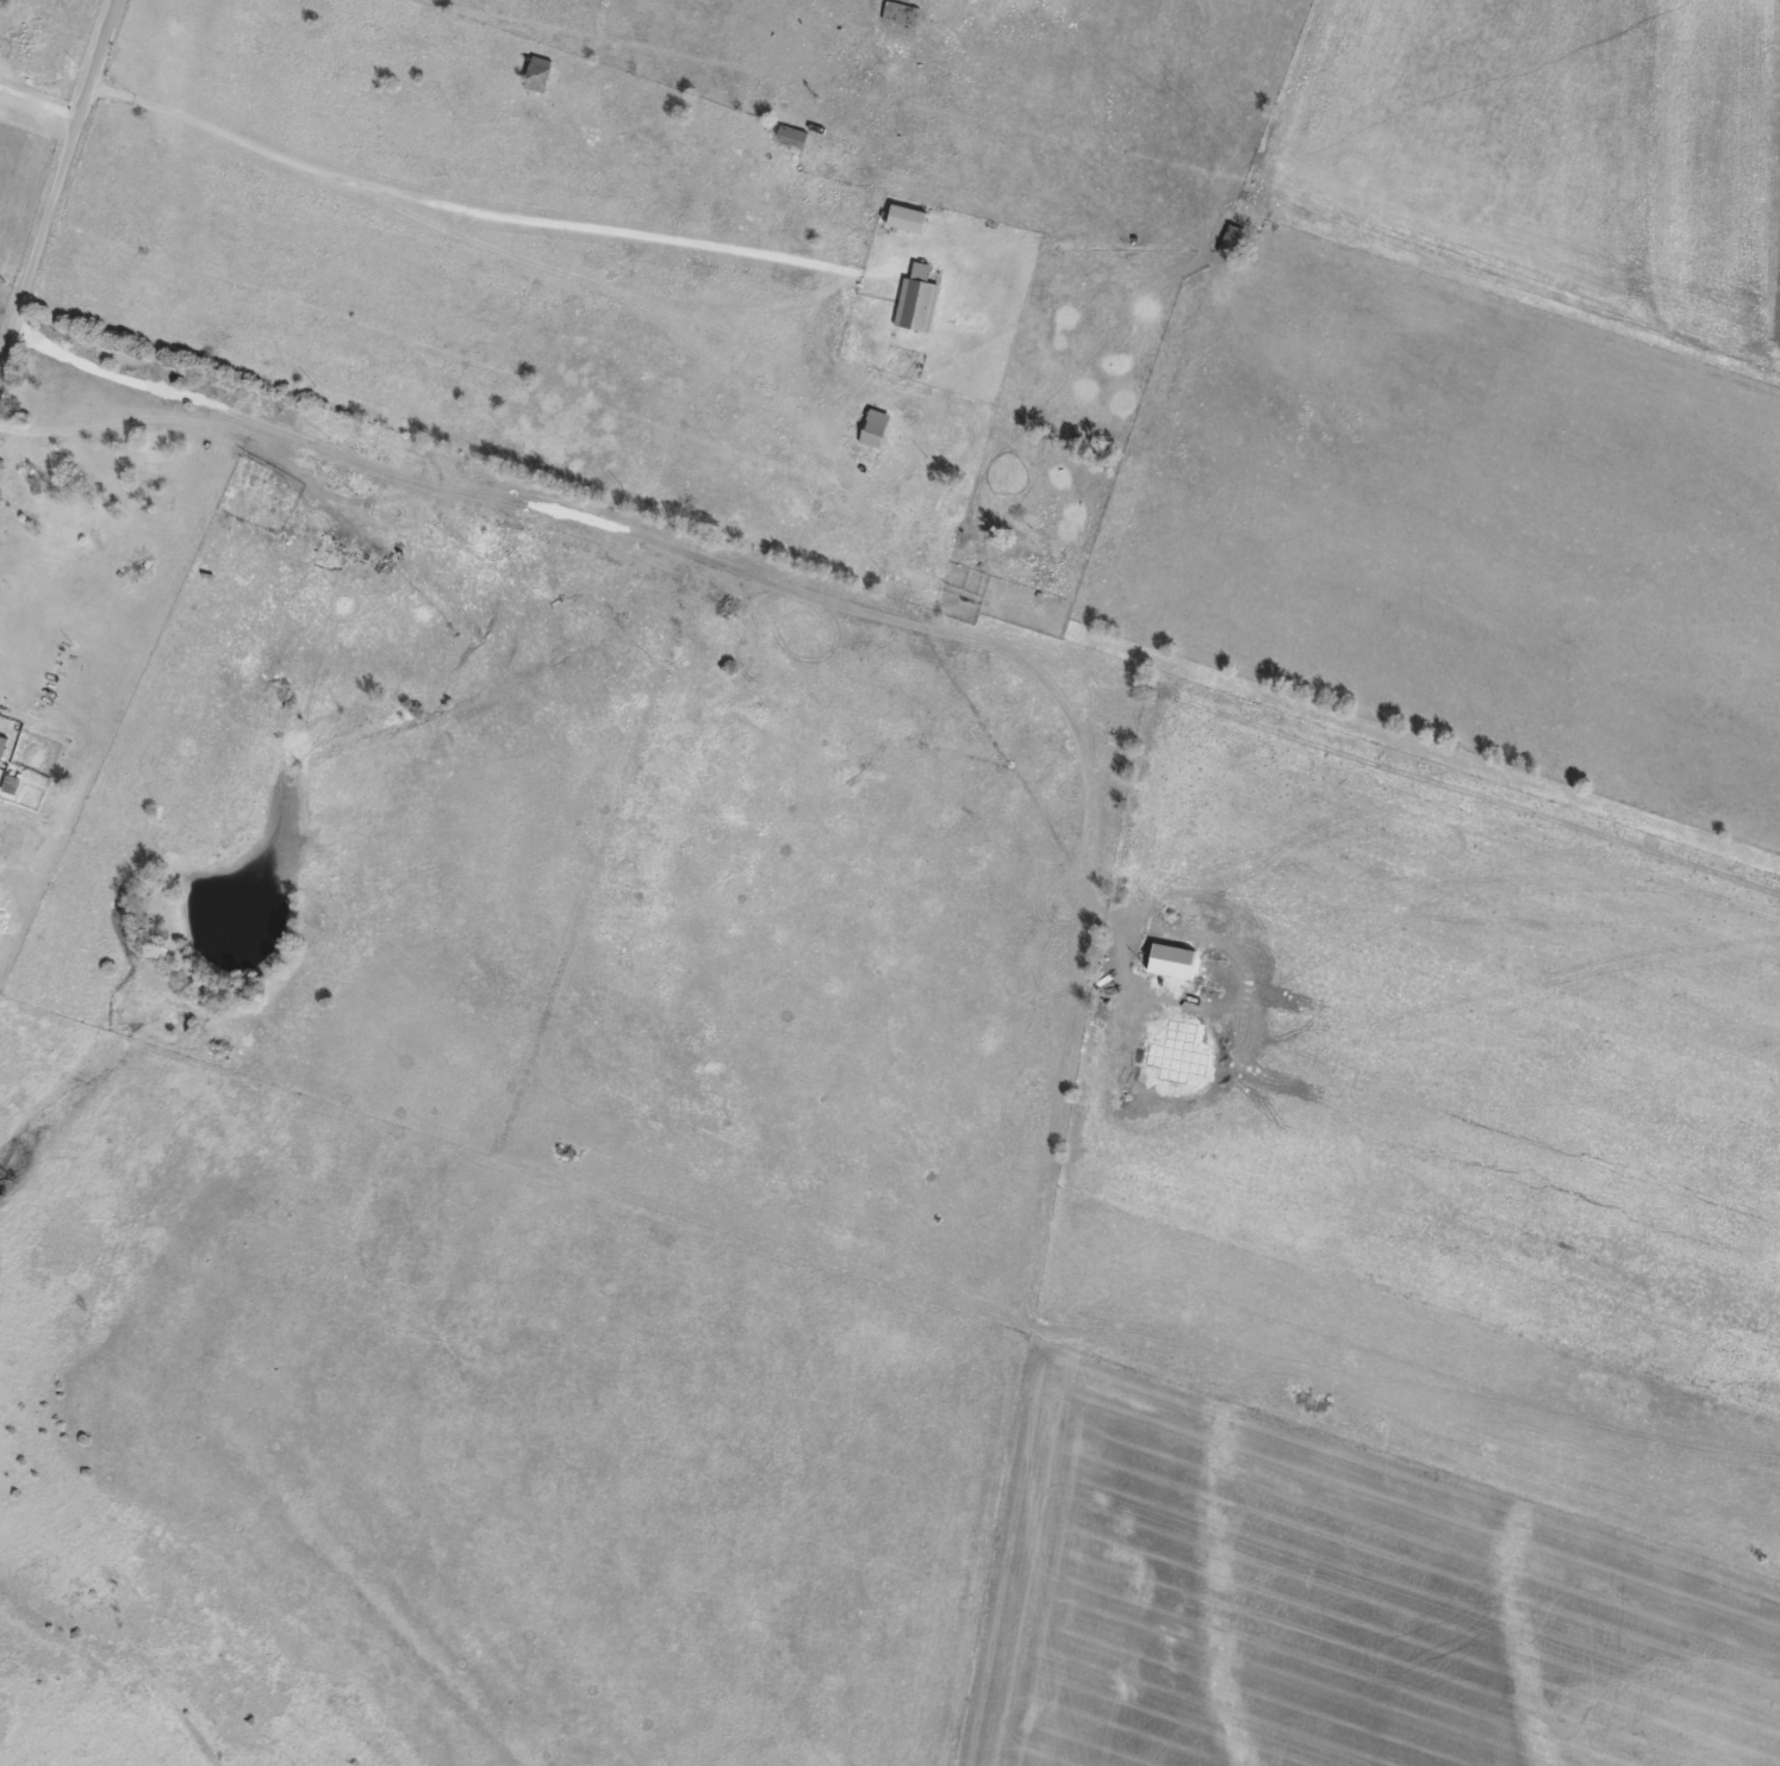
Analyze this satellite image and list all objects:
building: (898, 13)
building: (536, 73)
building: (789, 137)
road: (66, 194)
building: (904, 218)
building: (1230, 241)
road: (456, 276)
building: (916, 299)
building: (872, 428)
building: (64, 506)
building: (1, 745)

